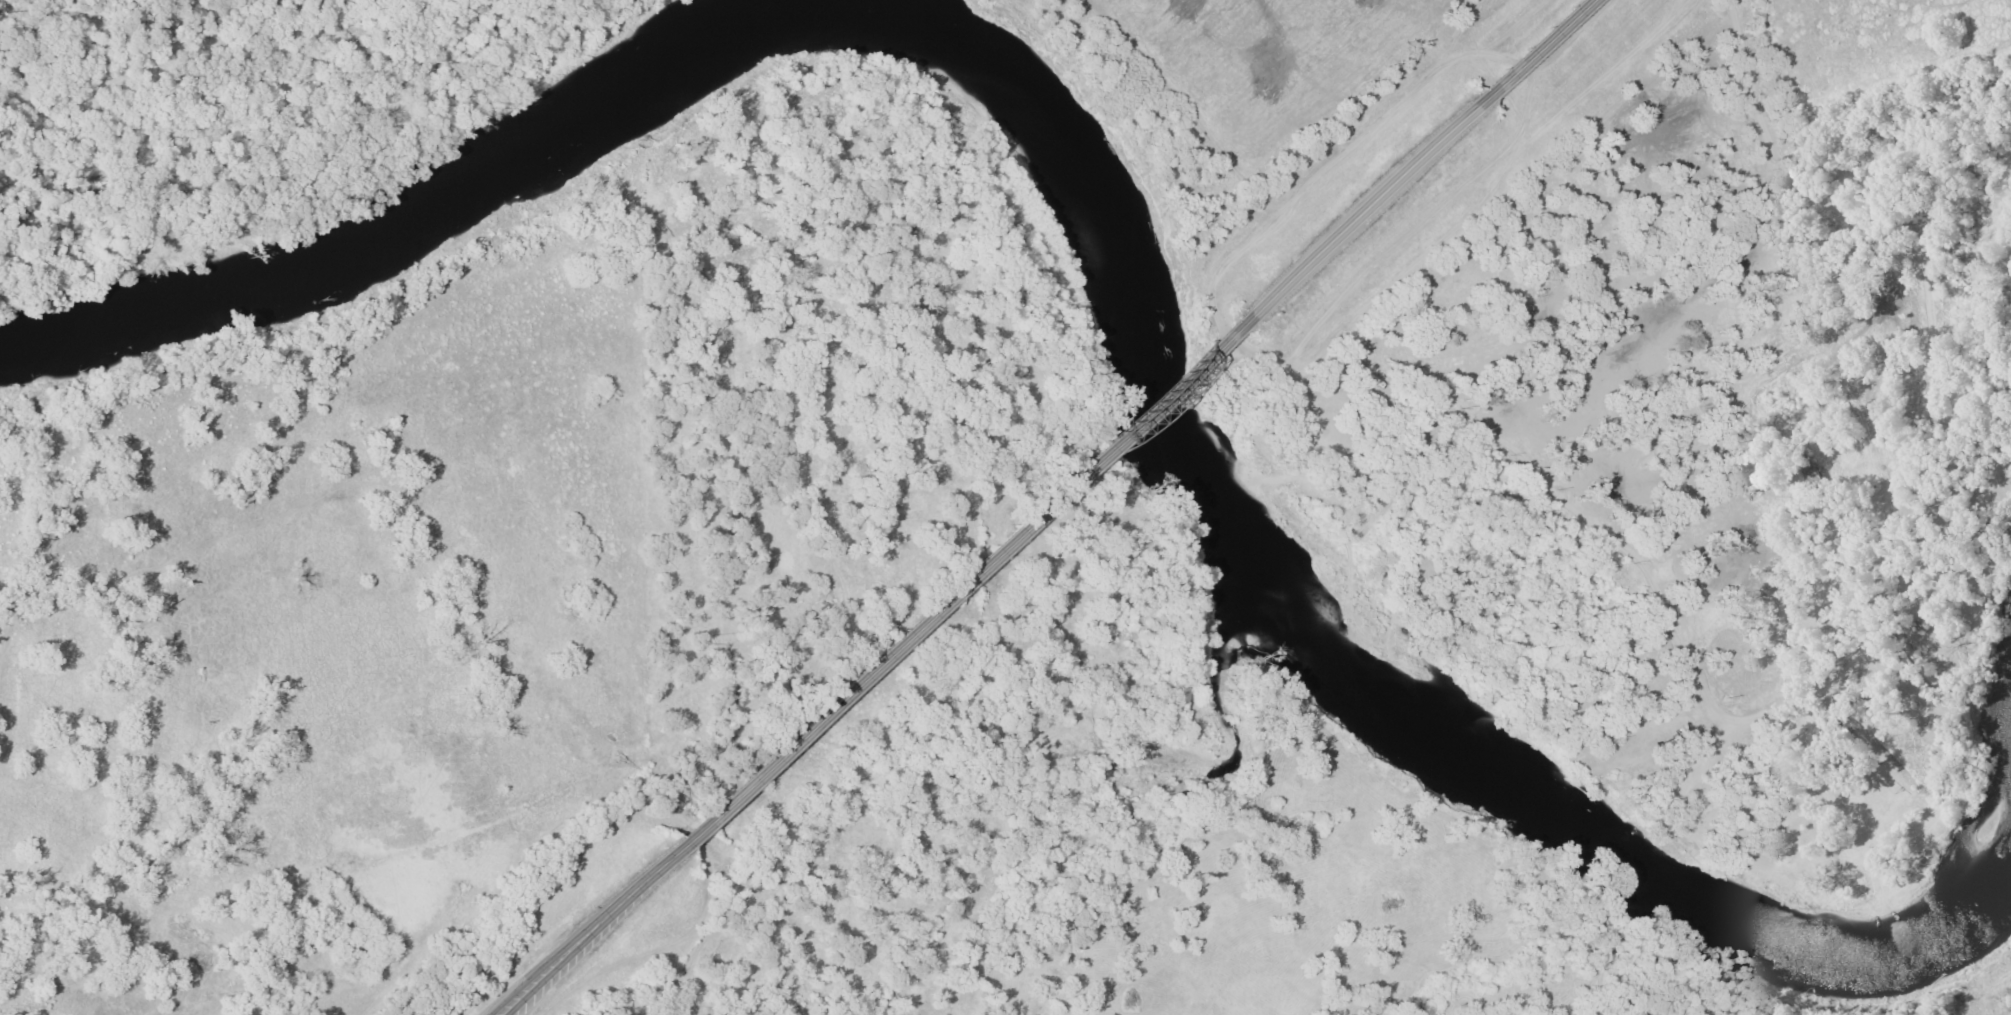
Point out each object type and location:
road: (1539, 48)
road: (1275, 131)
road: (1368, 207)
river: (425, 215)
road: (1633, 229)
road: (1867, 356)
road: (1364, 459)
road: (966, 581)
river: (1352, 644)
road: (596, 931)

